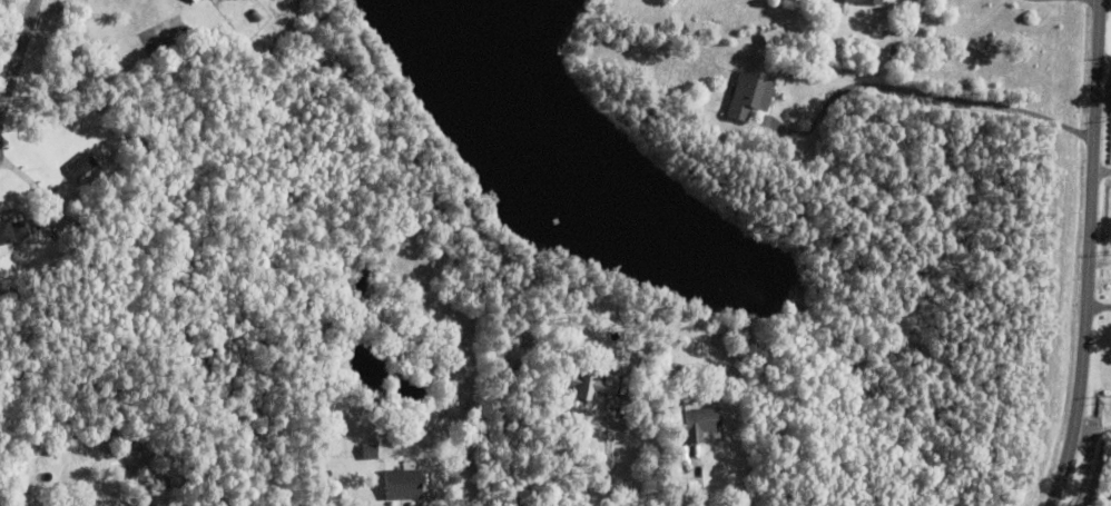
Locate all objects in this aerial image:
building: (195, 1)
building: (866, 1)
road: (18, 56)
building: (749, 96)
building: (83, 169)
building: (10, 235)
road: (1090, 255)
road: (1099, 306)
building: (508, 347)
building: (584, 385)
building: (701, 424)
building: (368, 453)
building: (129, 455)
road: (602, 460)
road: (694, 478)
building: (402, 485)
building: (132, 505)
building: (151, 505)

